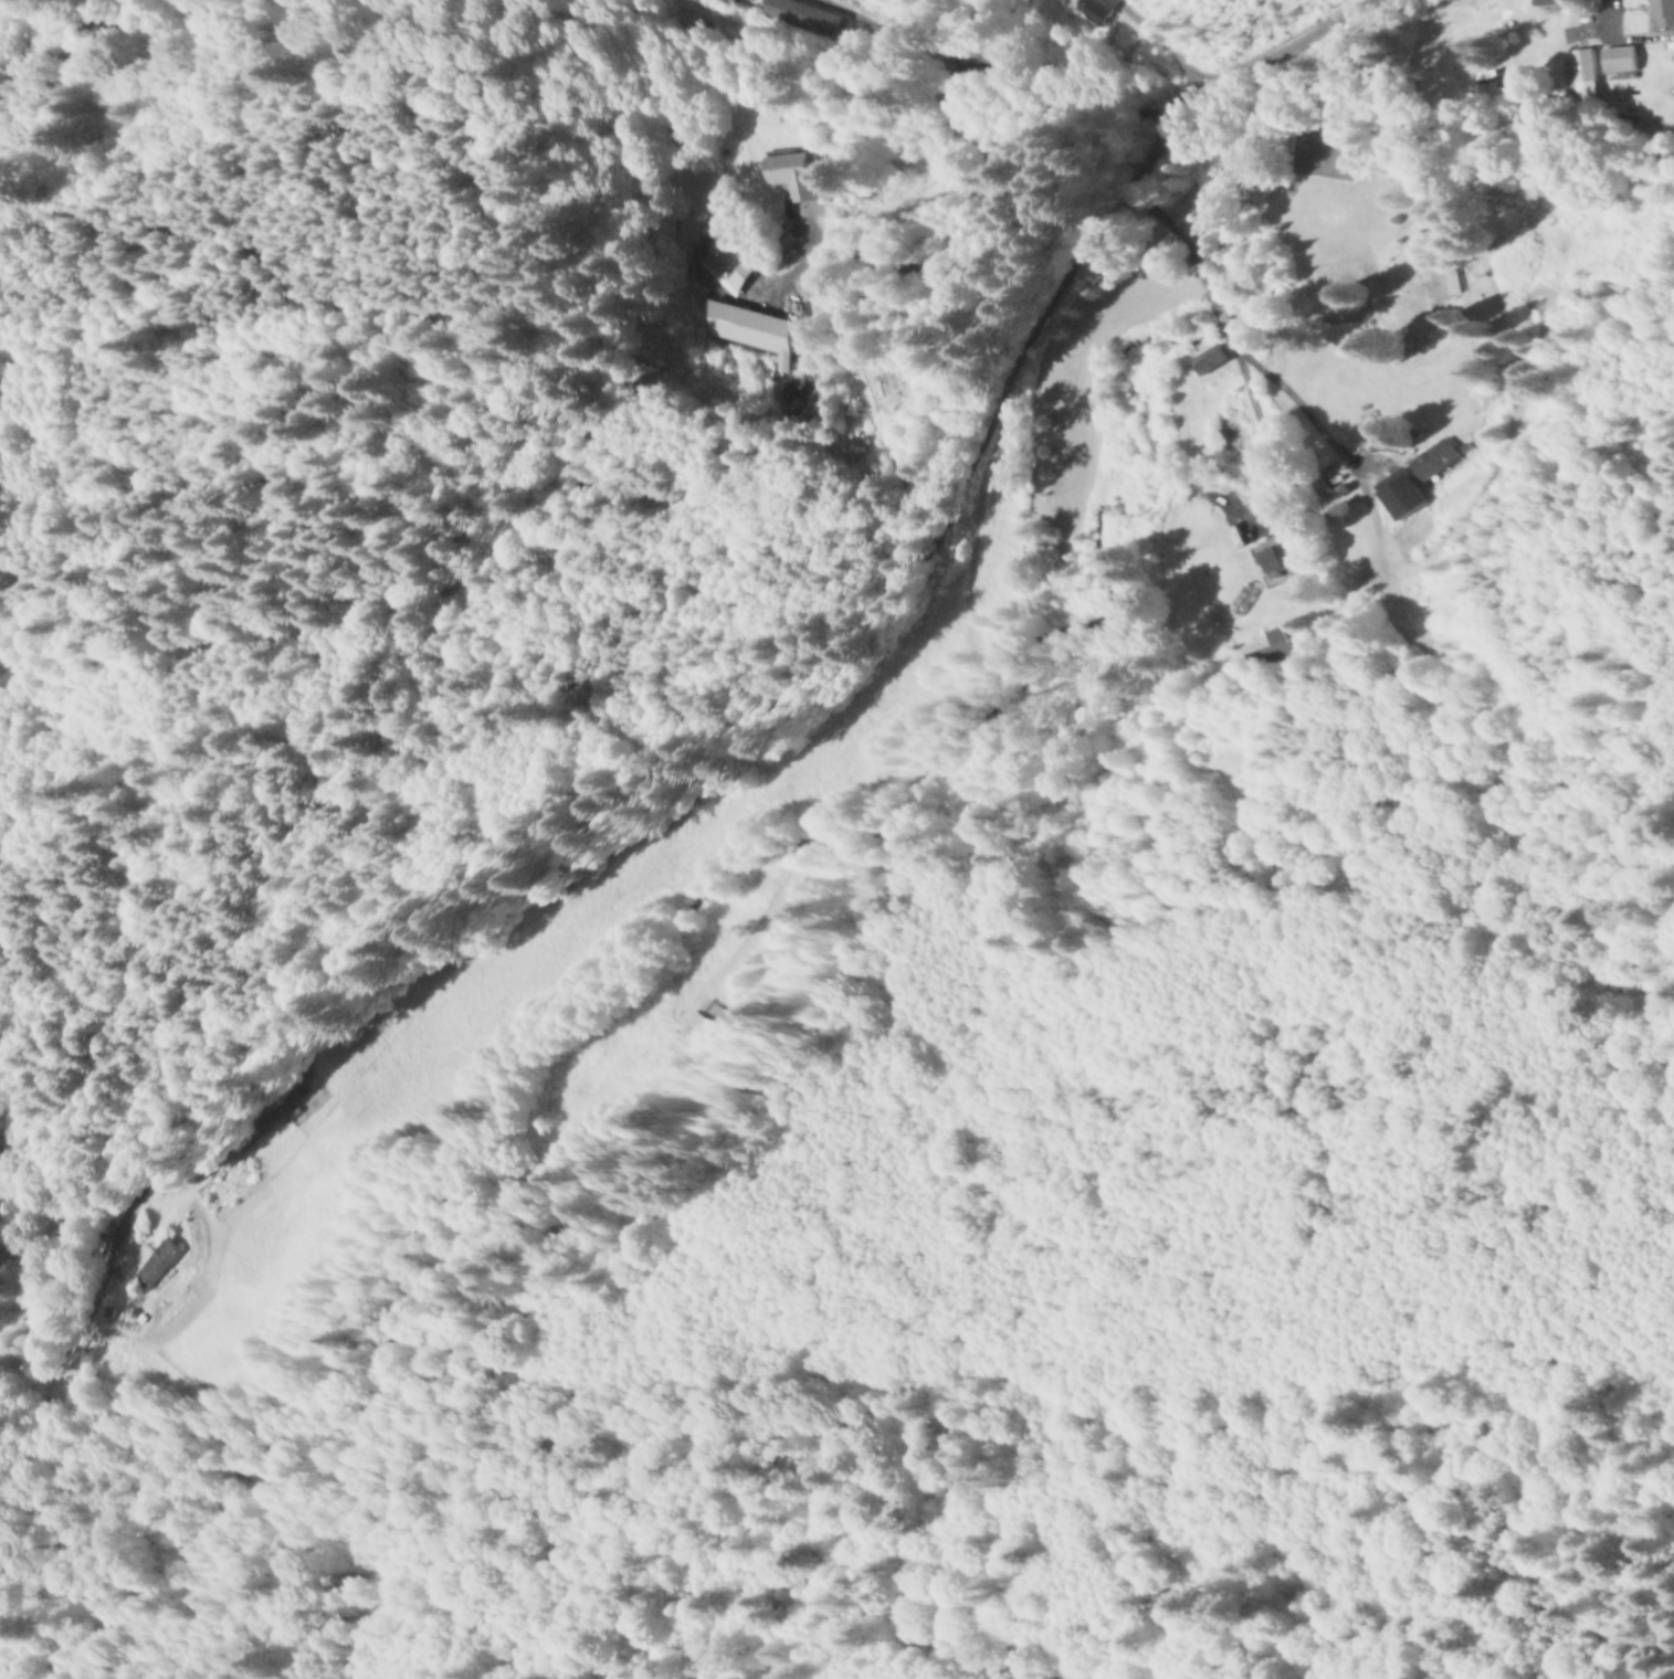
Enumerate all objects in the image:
building: (722, 2)
building: (1092, 11)
building: (810, 14)
building: (1663, 14)
road: (1619, 21)
building: (674, 22)
building: (1621, 61)
road: (1226, 71)
building: (1582, 78)
road: (554, 80)
building: (793, 182)
road: (30, 230)
building: (779, 245)
building: (718, 263)
road: (1220, 323)
building: (1212, 362)
building: (883, 386)
road: (1263, 444)
building: (1434, 462)
building: (1402, 496)
building: (1278, 557)
building: (1268, 659)
road: (599, 798)
building: (703, 1025)
building: (156, 1266)
road: (13, 1421)

